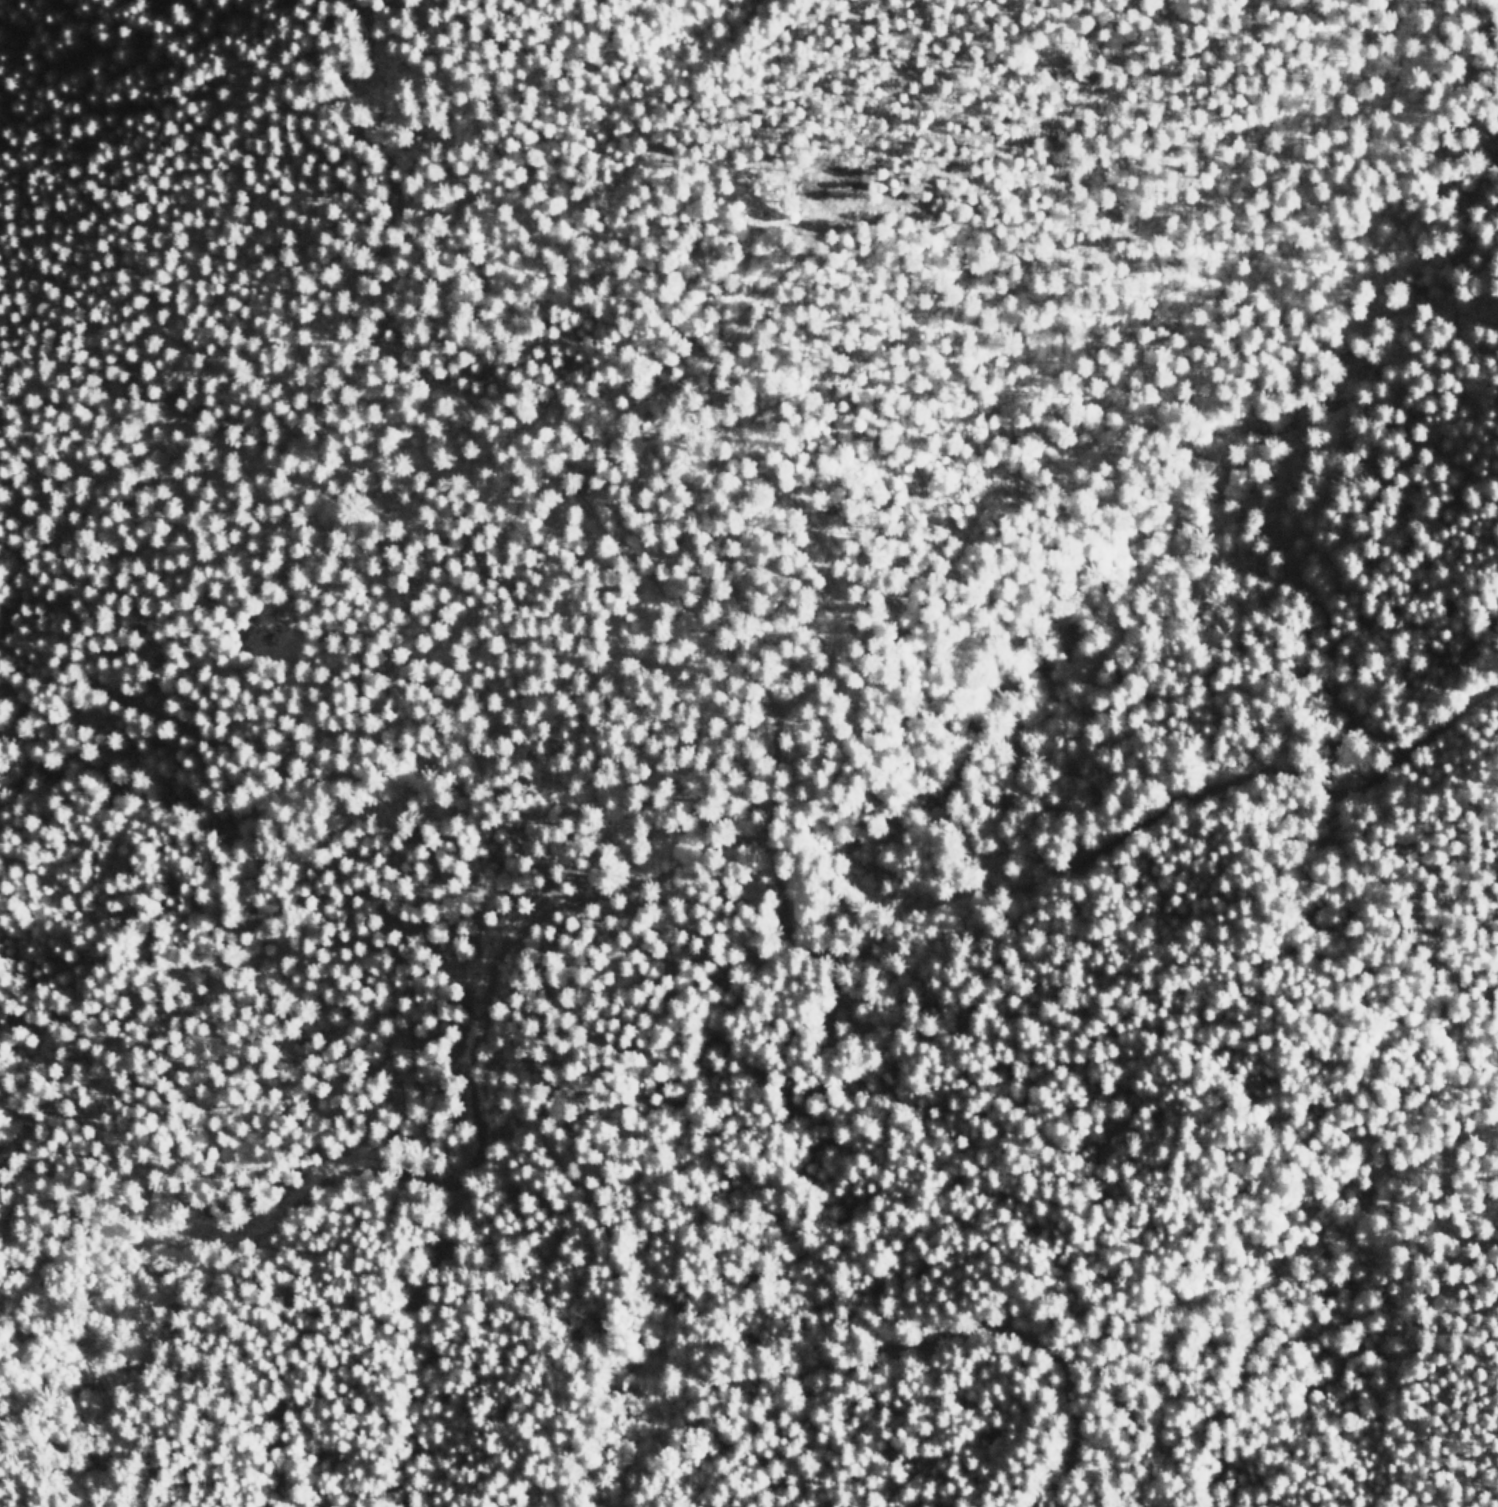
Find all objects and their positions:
road: (677, 832)

